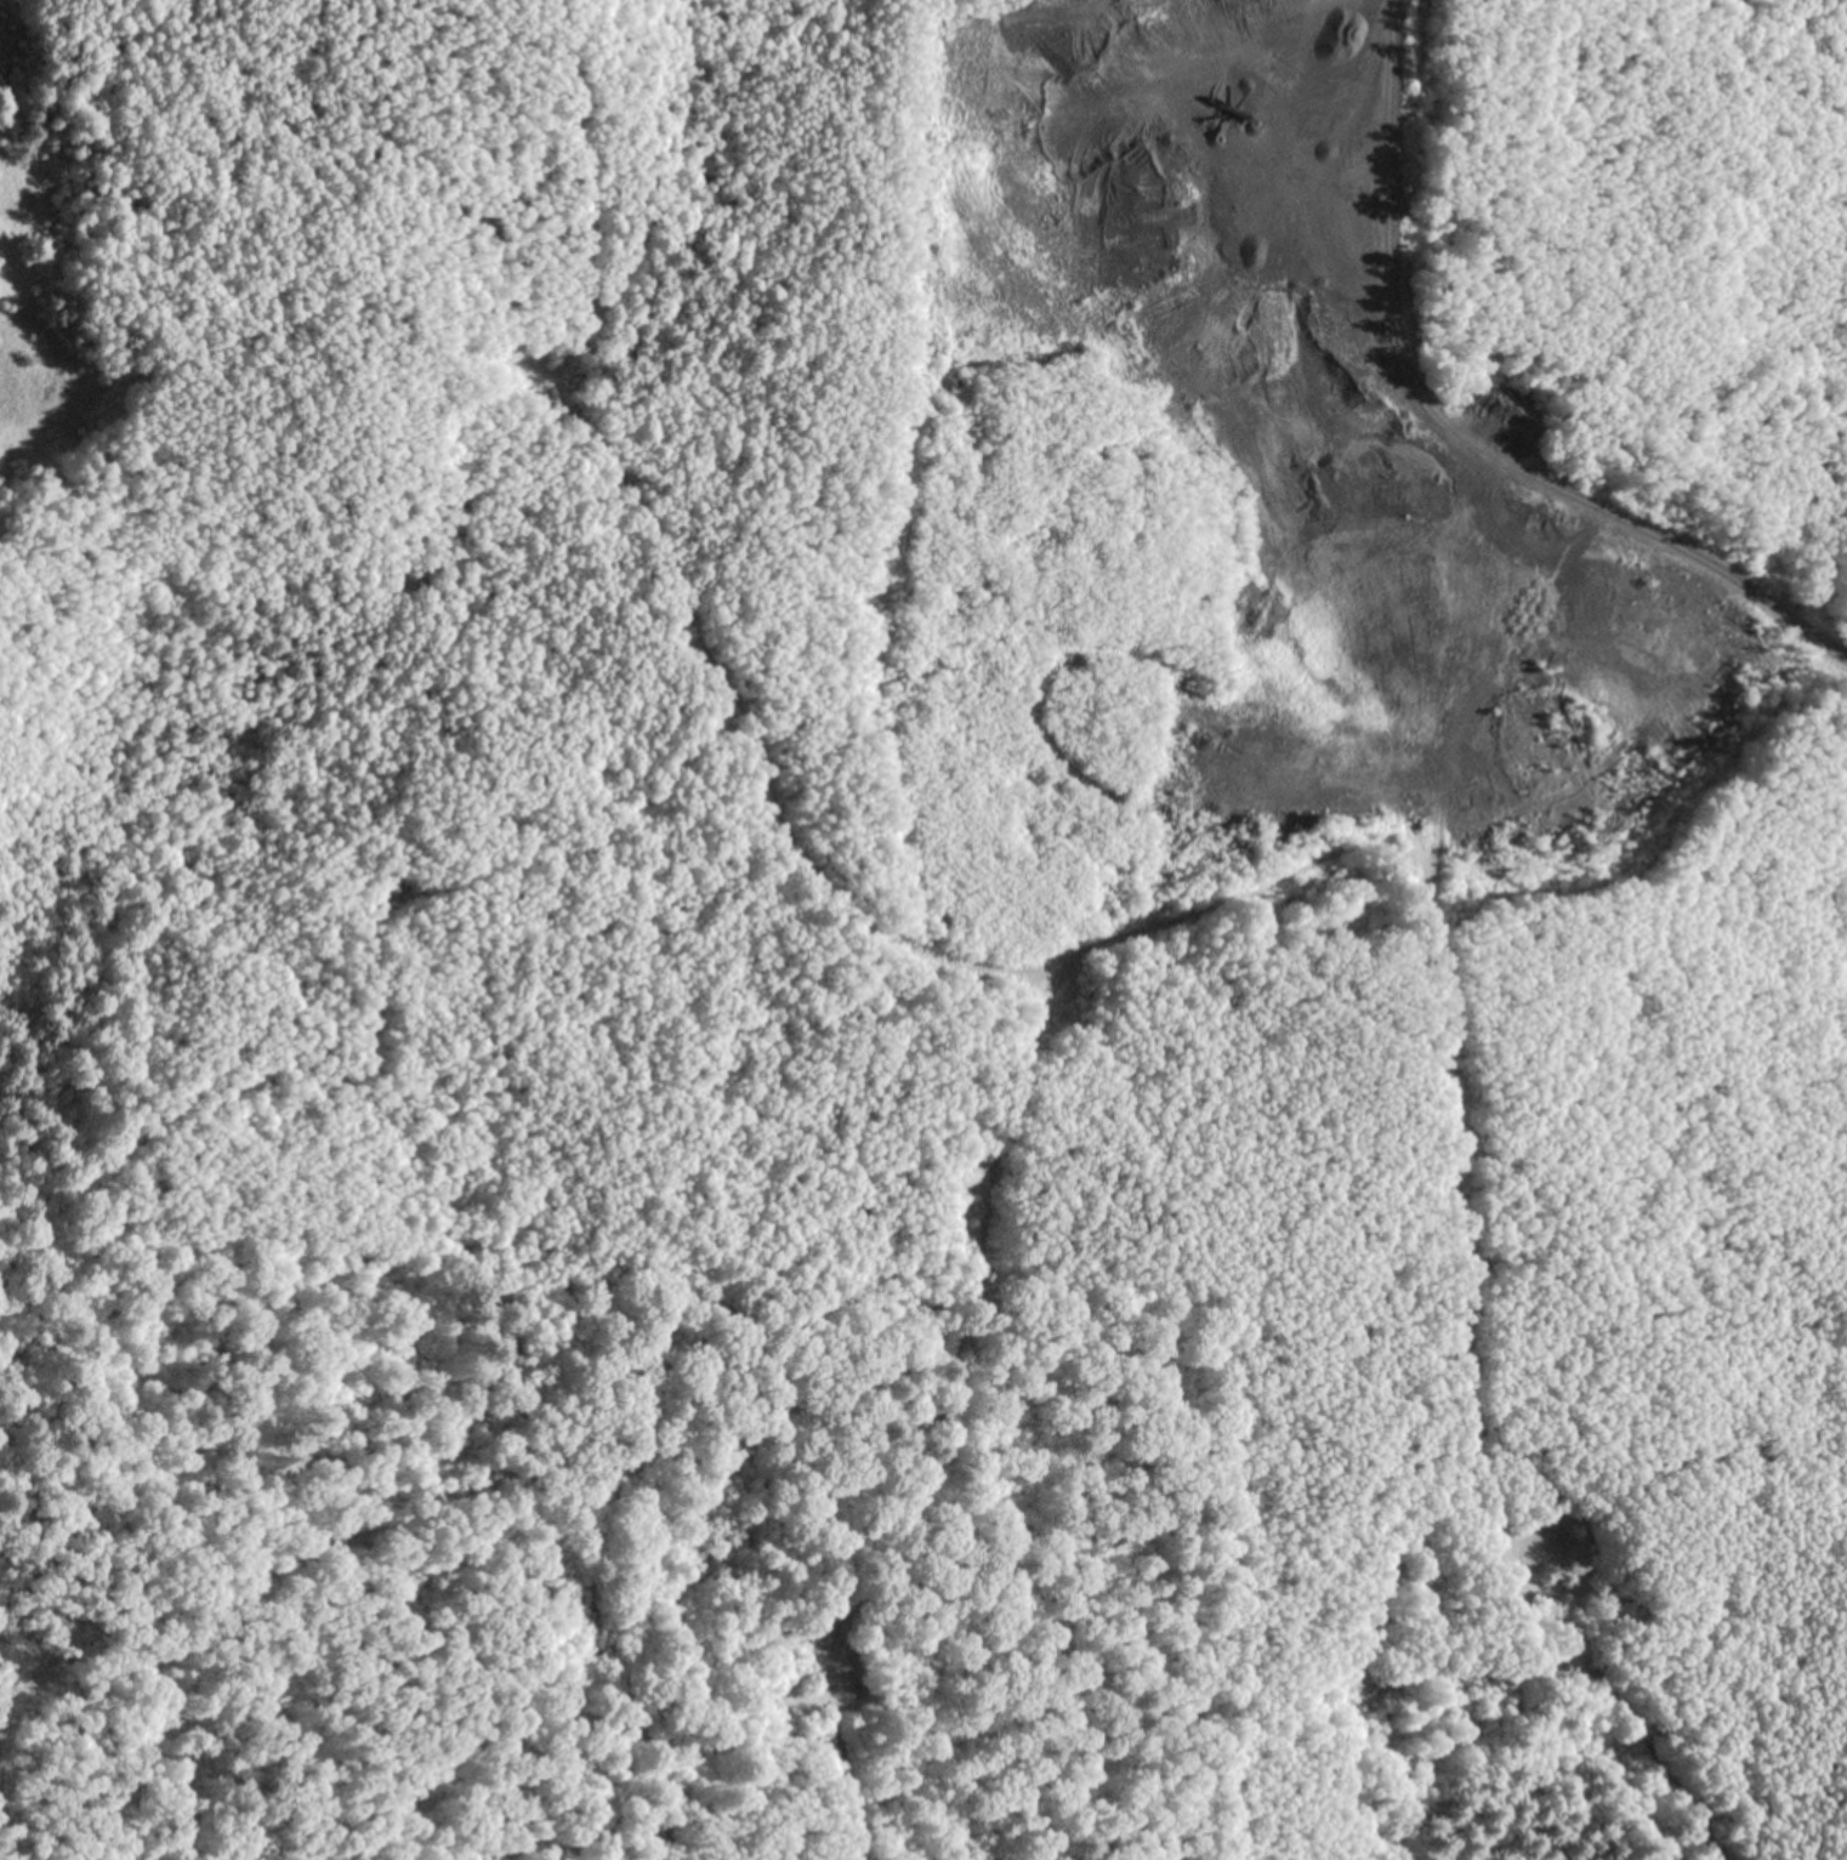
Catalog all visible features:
road: (1393, 232)
quarry: (1254, 524)
road: (1661, 537)
quarry: (1038, 769)
road: (1460, 1185)

